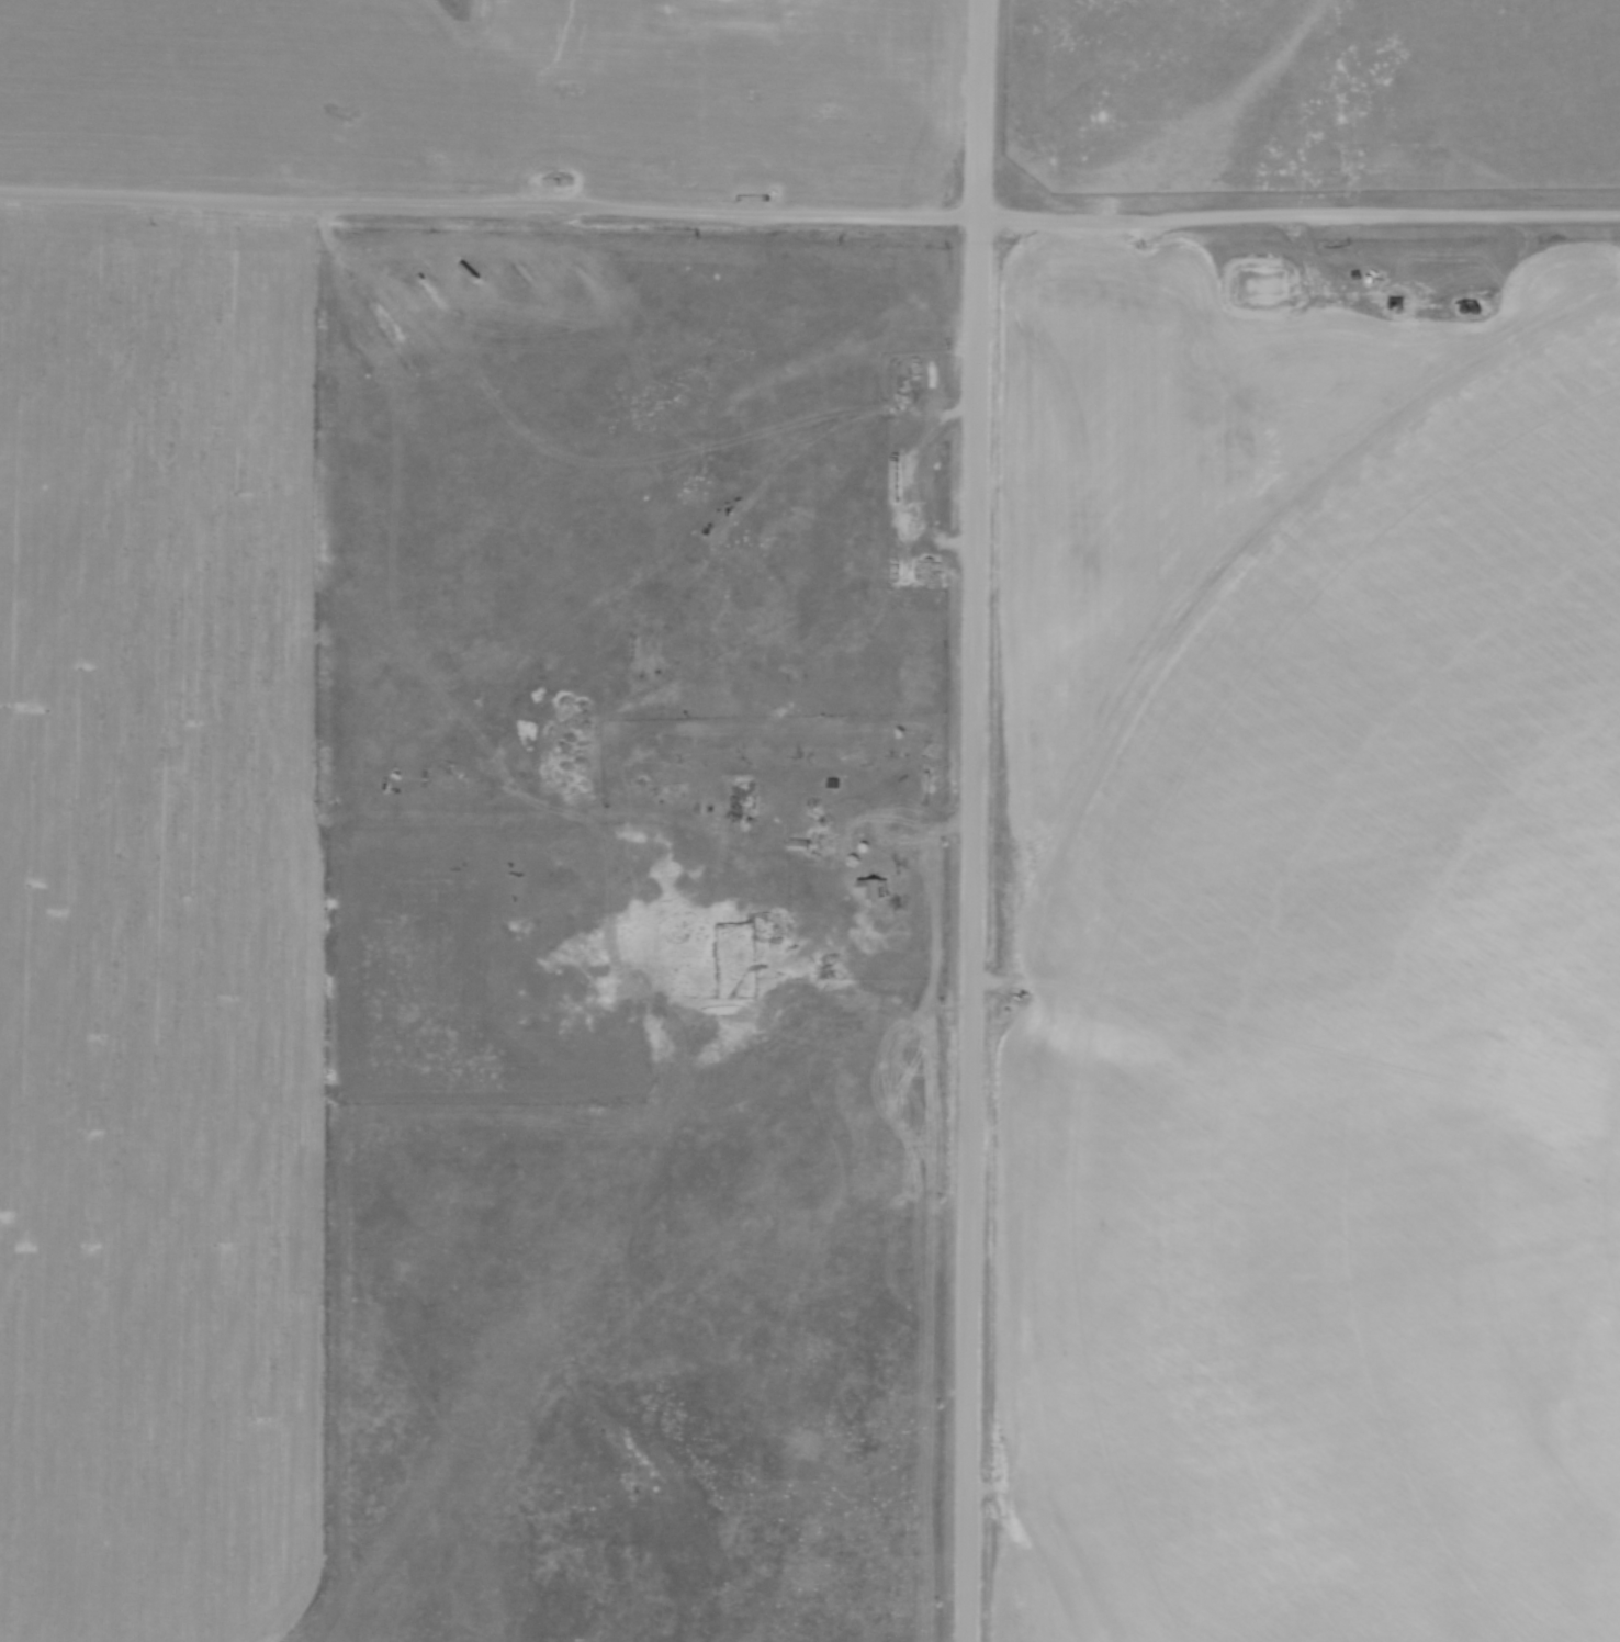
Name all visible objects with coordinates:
road: (809, 217)
building: (1376, 282)
storage tank: (1376, 282)
building: (1405, 305)
storage tank: (1405, 305)
building: (1470, 312)
storage tank: (1470, 312)
building: (1483, 313)
storage tank: (1483, 313)
road: (1404, 319)
petroleum well: (1233, 458)
road: (913, 480)
building: (905, 556)
building: (674, 789)
road: (979, 820)
building: (847, 835)
building: (815, 846)
building: (876, 893)
crop: (160, 927)
crop: (1309, 964)

